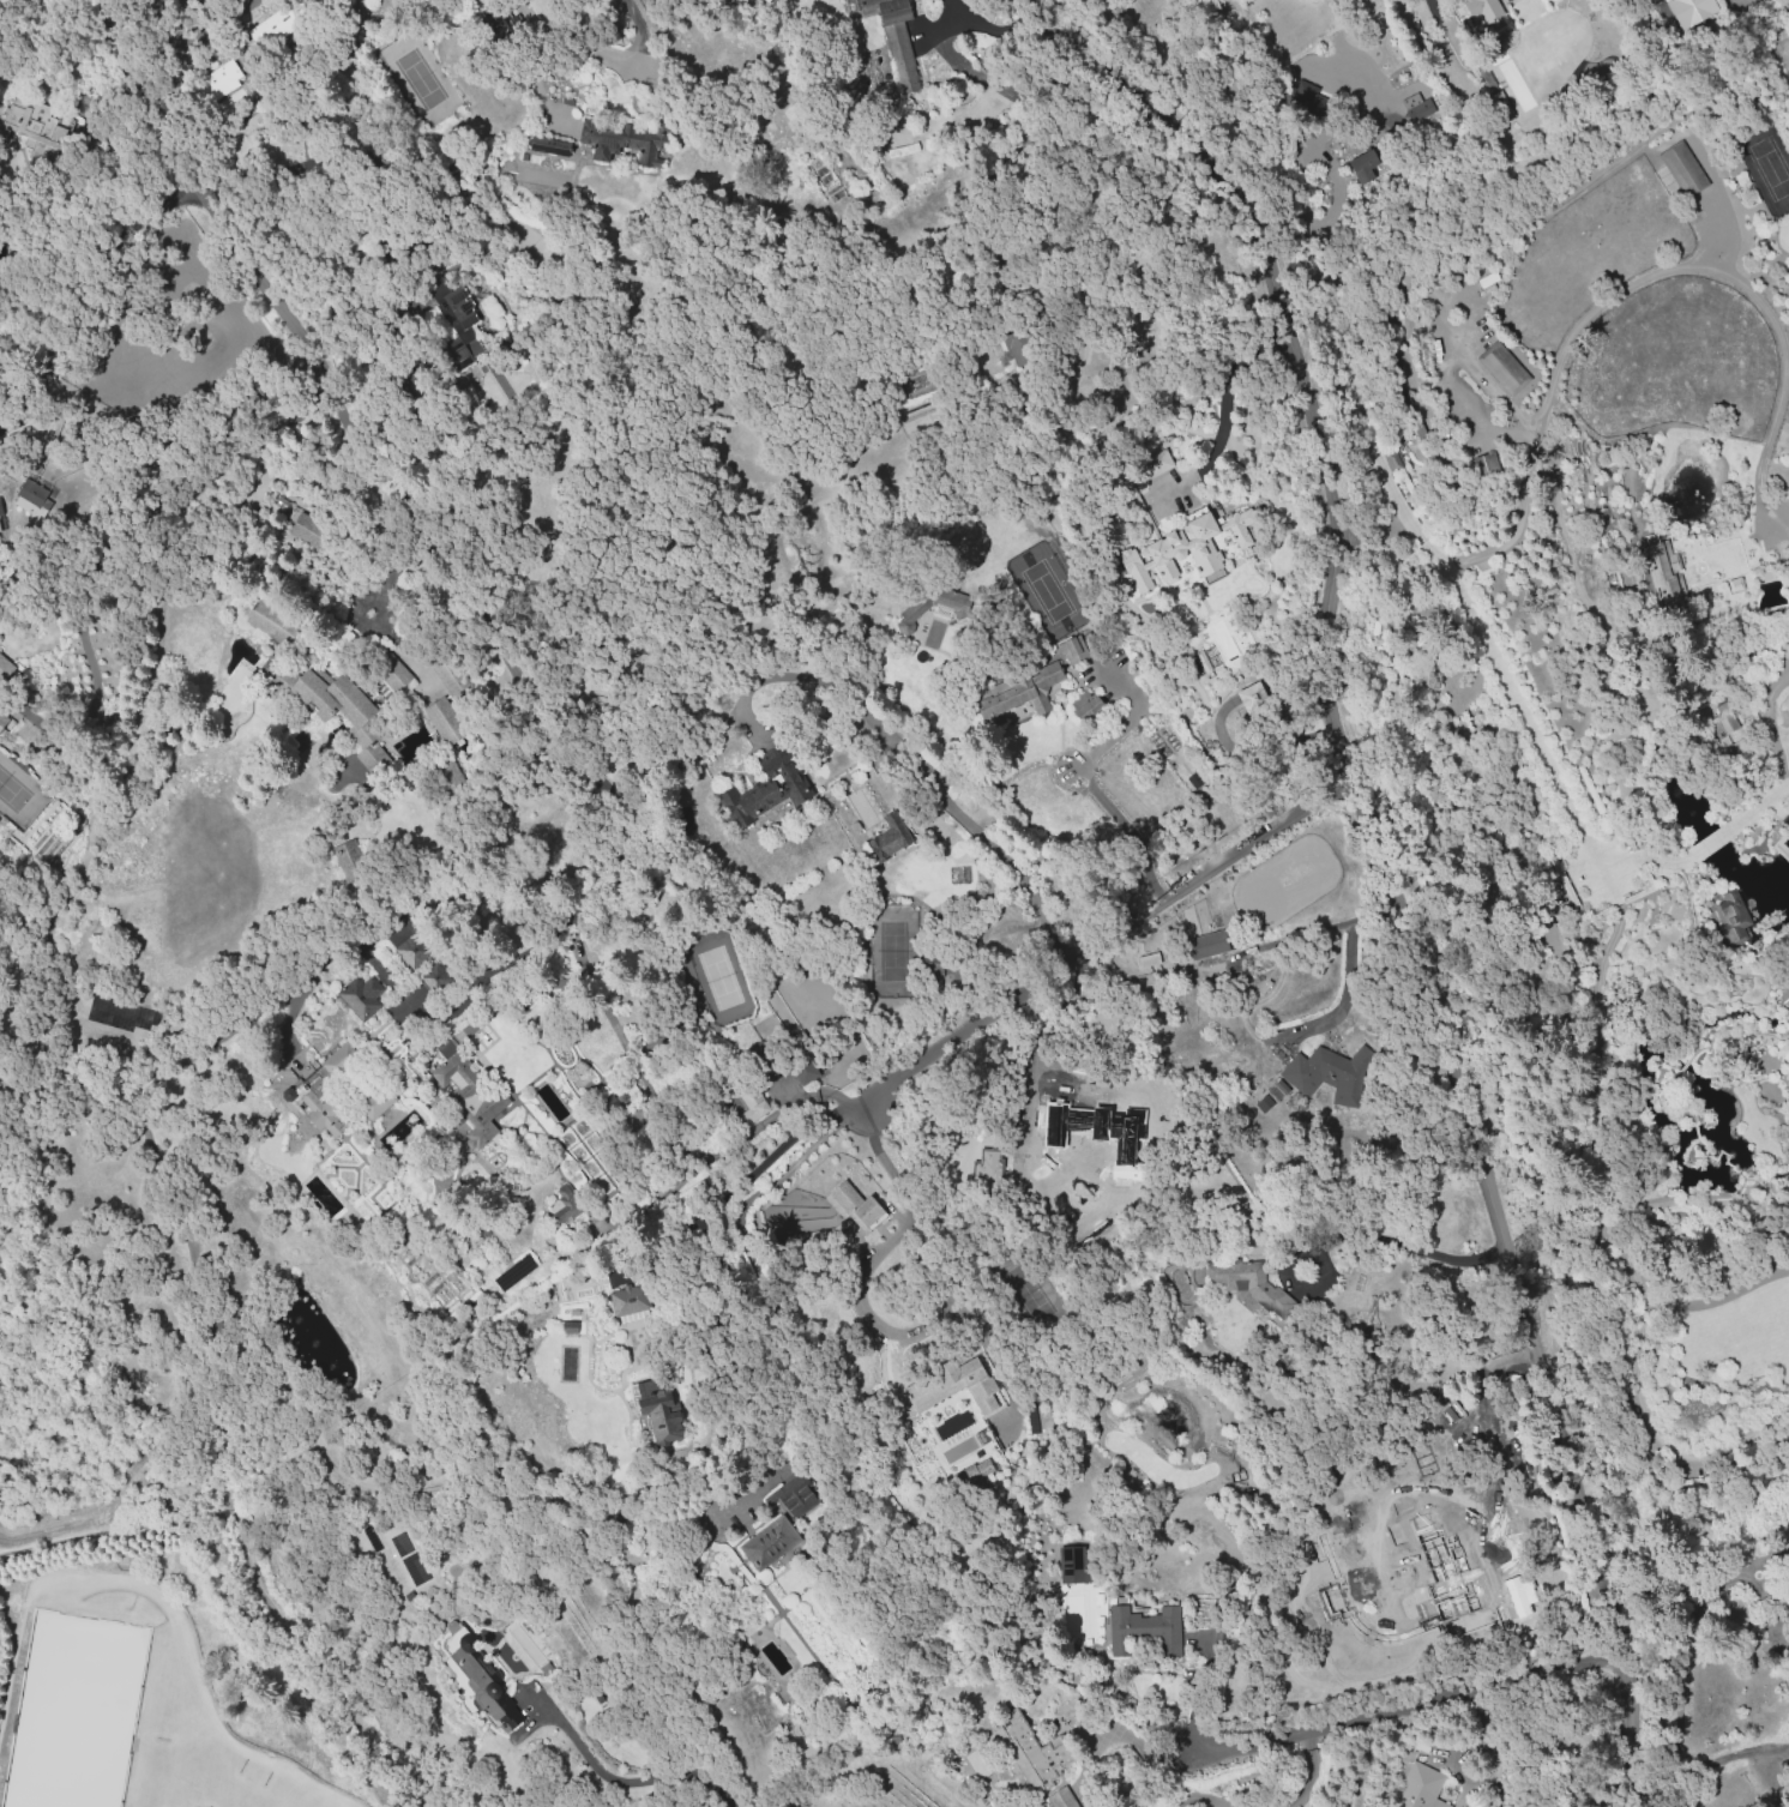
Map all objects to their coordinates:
building: (309, 2)
building: (1535, 2)
building: (1482, 7)
building: (1691, 11)
building: (889, 13)
building: (272, 26)
road: (994, 30)
road: (638, 31)
building: (221, 79)
building: (1401, 79)
building: (1303, 95)
building: (1500, 104)
building: (1416, 106)
building: (34, 121)
building: (628, 144)
building: (550, 145)
building: (1511, 146)
building: (1367, 165)
building: (1683, 169)
road: (365, 174)
road: (1731, 230)
road: (1640, 279)
road: (90, 296)
building: (463, 323)
building: (1005, 348)
building: (1504, 367)
road: (1227, 398)
building: (1393, 462)
building: (1157, 464)
building: (1486, 466)
building: (37, 496)
building: (1, 523)
building: (309, 525)
building: (1188, 548)
building: (1664, 571)
road: (391, 573)
building: (914, 609)
road: (483, 616)
building: (272, 622)
building: (1073, 652)
building: (1204, 661)
building: (5, 668)
building: (450, 673)
building: (393, 675)
building: (1040, 685)
building: (1254, 701)
building: (1085, 706)
building: (343, 711)
road: (1132, 716)
building: (1728, 717)
road: (1770, 719)
road: (1517, 721)
building: (2, 722)
building: (445, 722)
building: (447, 785)
building: (760, 797)
road: (1127, 827)
building: (887, 839)
building: (349, 860)
road: (1383, 866)
building: (1729, 908)
road: (1107, 936)
building: (1206, 944)
building: (412, 950)
building: (1148, 959)
road: (1348, 976)
building: (436, 977)
building: (1785, 992)
building: (361, 996)
building: (339, 1060)
building: (1330, 1074)
building: (468, 1088)
building: (377, 1102)
building: (751, 1109)
building: (324, 1112)
building: (1113, 1148)
road: (749, 1197)
building: (856, 1205)
building: (565, 1206)
road: (1403, 1245)
building: (1247, 1285)
road: (859, 1300)
building: (627, 1306)
building: (566, 1327)
building: (946, 1387)
building: (662, 1420)
building: (974, 1436)
building: (977, 1475)
building: (795, 1495)
building: (1377, 1513)
building: (771, 1544)
road: (1693, 1554)
building: (1072, 1564)
building: (1439, 1566)
road: (1771, 1601)
building: (1144, 1632)
building: (480, 1682)
road: (1198, 1692)
road: (1681, 1692)
road: (1403, 1699)
building: (1034, 1753)
road: (1729, 1757)
road: (1307, 1767)
road: (624, 1778)
building: (1420, 1788)
road: (1200, 1797)
road: (1293, 1797)
building: (1061, 1799)

